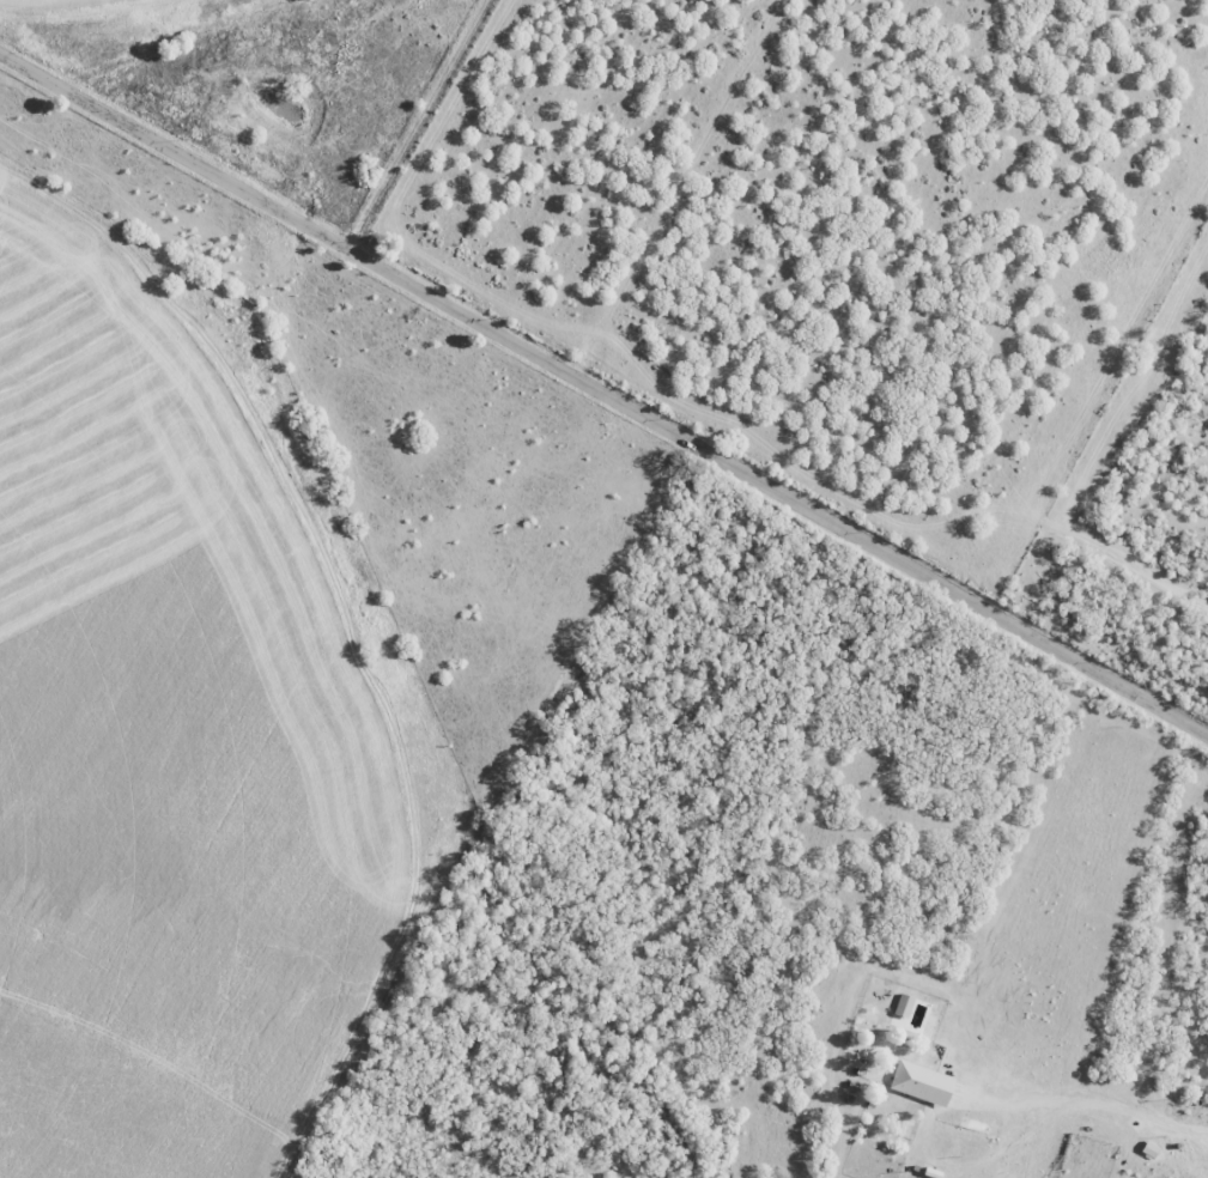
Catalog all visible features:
road: (418, 125)
road: (603, 394)
building: (924, 1082)
road: (1093, 1098)

